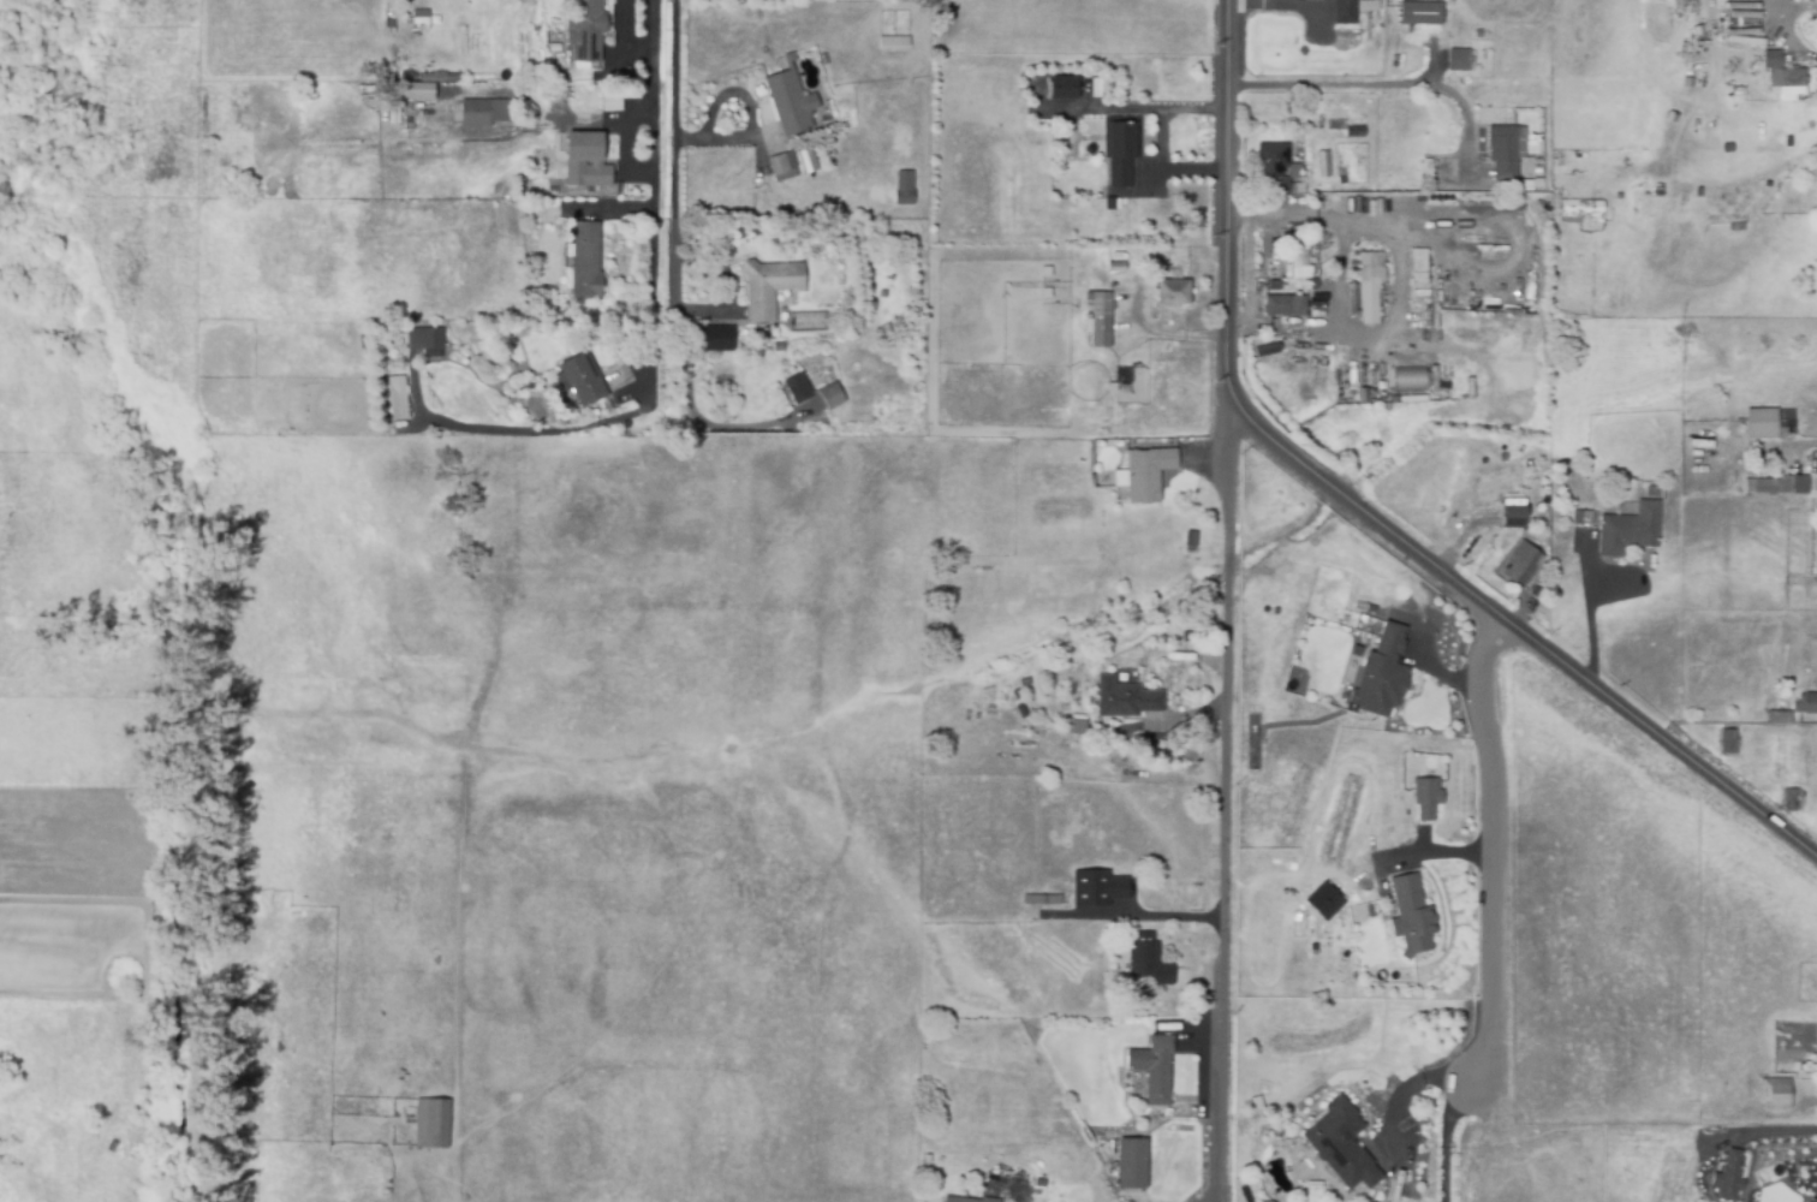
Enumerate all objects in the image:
building: (415, 4)
building: (1368, 7)
road: (1781, 8)
building: (1344, 12)
building: (1419, 14)
road: (1789, 29)
building: (586, 30)
building: (552, 35)
building: (892, 41)
building: (553, 49)
building: (1774, 60)
building: (1459, 61)
building: (436, 79)
road: (1324, 83)
building: (1788, 83)
building: (1062, 89)
building: (416, 90)
building: (1736, 93)
building: (610, 103)
building: (788, 105)
building: (483, 115)
road: (1467, 115)
building: (449, 119)
road: (1166, 138)
road: (654, 142)
building: (1120, 150)
building: (1501, 154)
building: (808, 160)
building: (585, 162)
building: (1274, 166)
building: (1323, 166)
building: (781, 168)
building: (1294, 173)
road: (653, 175)
building: (1529, 185)
building: (618, 190)
building: (905, 190)
building: (1109, 206)
building: (1579, 212)
building: (838, 251)
building: (1299, 256)
building: (585, 263)
road: (674, 266)
building: (1417, 266)
building: (1115, 268)
building: (1080, 270)
building: (1369, 287)
building: (768, 288)
building: (1172, 293)
building: (1283, 307)
building: (1100, 319)
building: (431, 339)
building: (717, 340)
building: (210, 341)
building: (779, 349)
building: (1408, 380)
building: (583, 381)
building: (798, 391)
building: (397, 397)
building: (830, 398)
building: (1761, 424)
building: (388, 429)
road: (538, 430)
building: (1782, 432)
building: (1502, 459)
building: (1526, 465)
building: (1815, 470)
building: (1149, 477)
building: (1779, 487)
building: (1650, 493)
road: (1362, 511)
building: (1515, 517)
building: (1581, 519)
building: (1630, 530)
building: (1525, 571)
road: (1590, 614)
building: (1381, 673)
building: (1023, 684)
building: (1068, 692)
building: (1015, 696)
building: (1026, 697)
building: (1126, 701)
building: (1810, 704)
building: (1020, 713)
building: (1779, 719)
building: (1078, 726)
building: (1728, 743)
road: (1222, 798)
building: (1425, 798)
building: (1789, 801)
road: (1493, 847)
road: (1455, 852)
building: (1097, 886)
building: (1041, 898)
building: (1323, 900)
building: (1411, 916)
road: (1160, 917)
building: (1146, 958)
building: (1152, 1066)
building: (1811, 1070)
road: (1416, 1082)
building: (1775, 1095)
building: (433, 1121)
road: (1775, 1130)
road: (1449, 1137)
building: (112, 1146)
building: (1344, 1146)
building: (1132, 1162)
building: (1727, 1176)
building: (386, 1188)
road: (1019, 1195)
building: (1035, 1197)
building: (967, 1198)
building: (1811, 1200)

